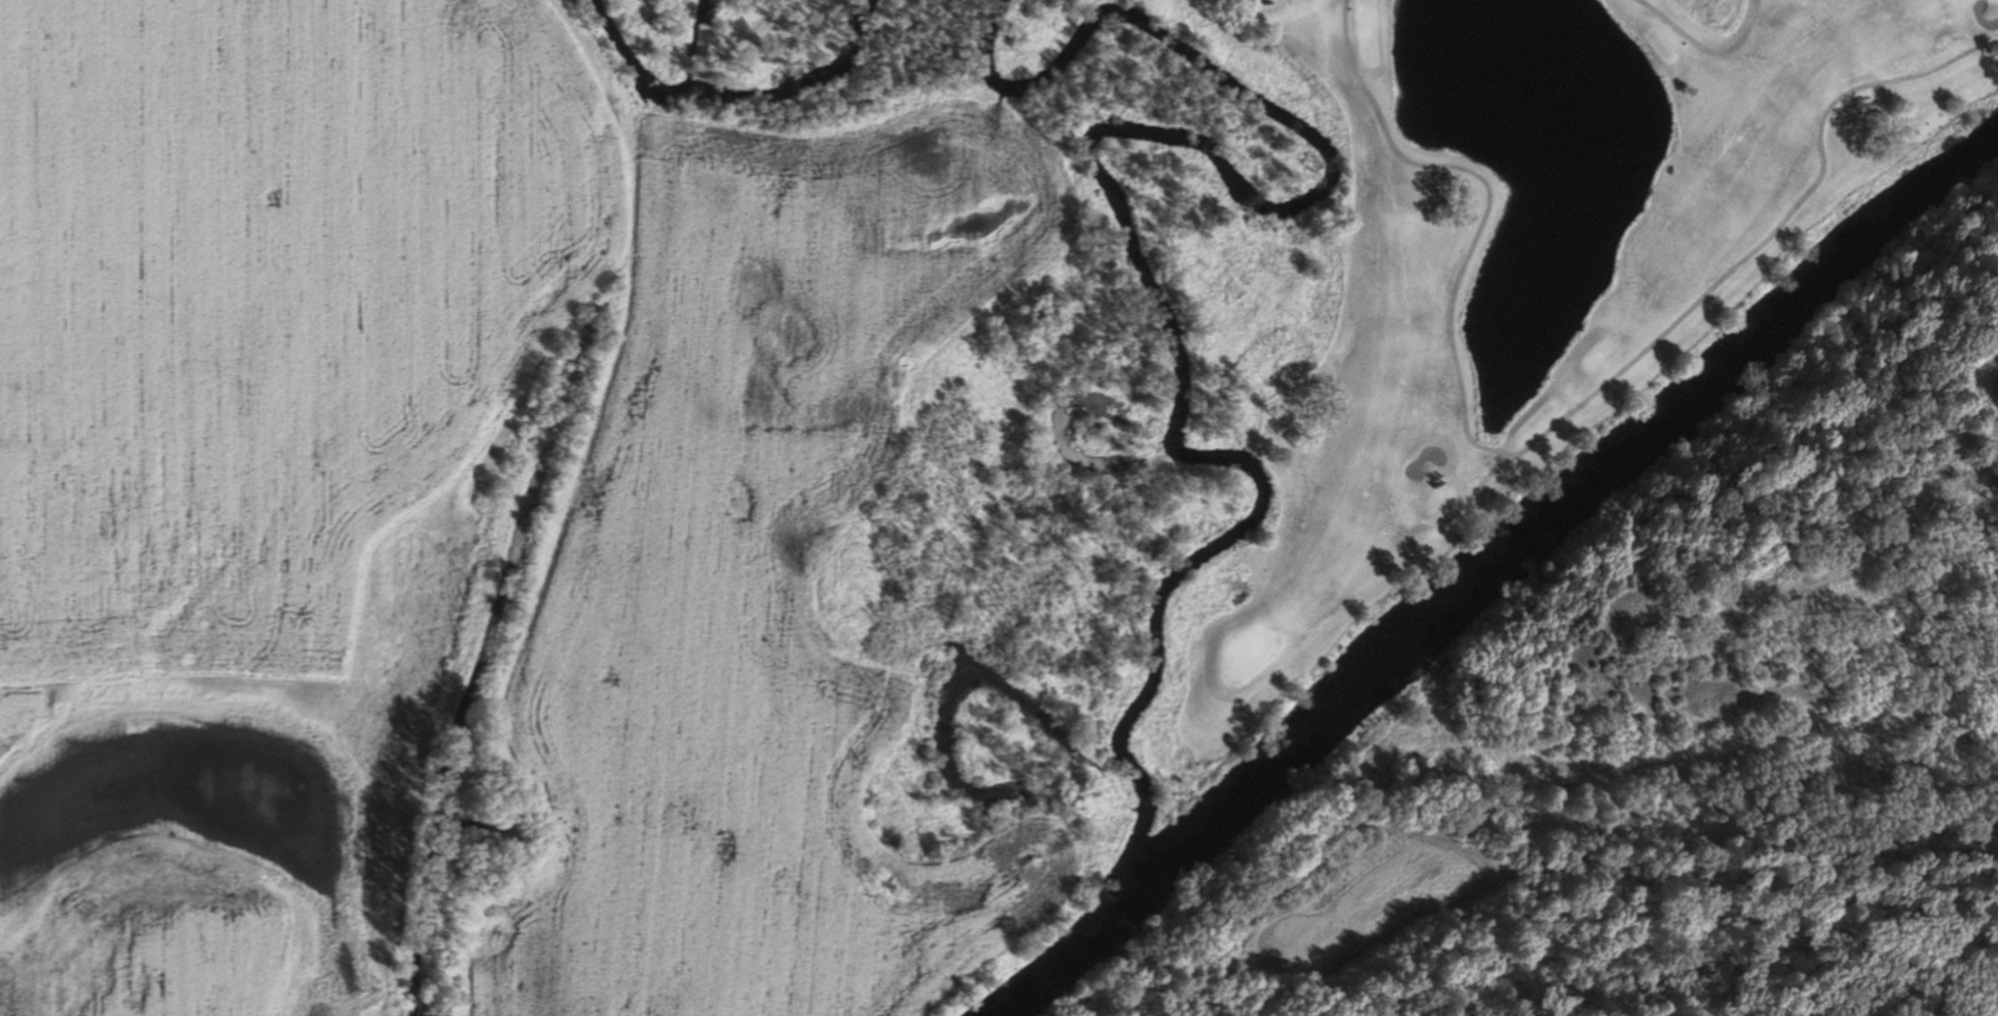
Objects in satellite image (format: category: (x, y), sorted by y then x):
park: (1997, 0)
road: (1704, 49)
river: (724, 108)
park: (1481, 278)
river: (1146, 301)
road: (1551, 425)
road: (1488, 474)
river: (1495, 570)
park: (1244, 651)

